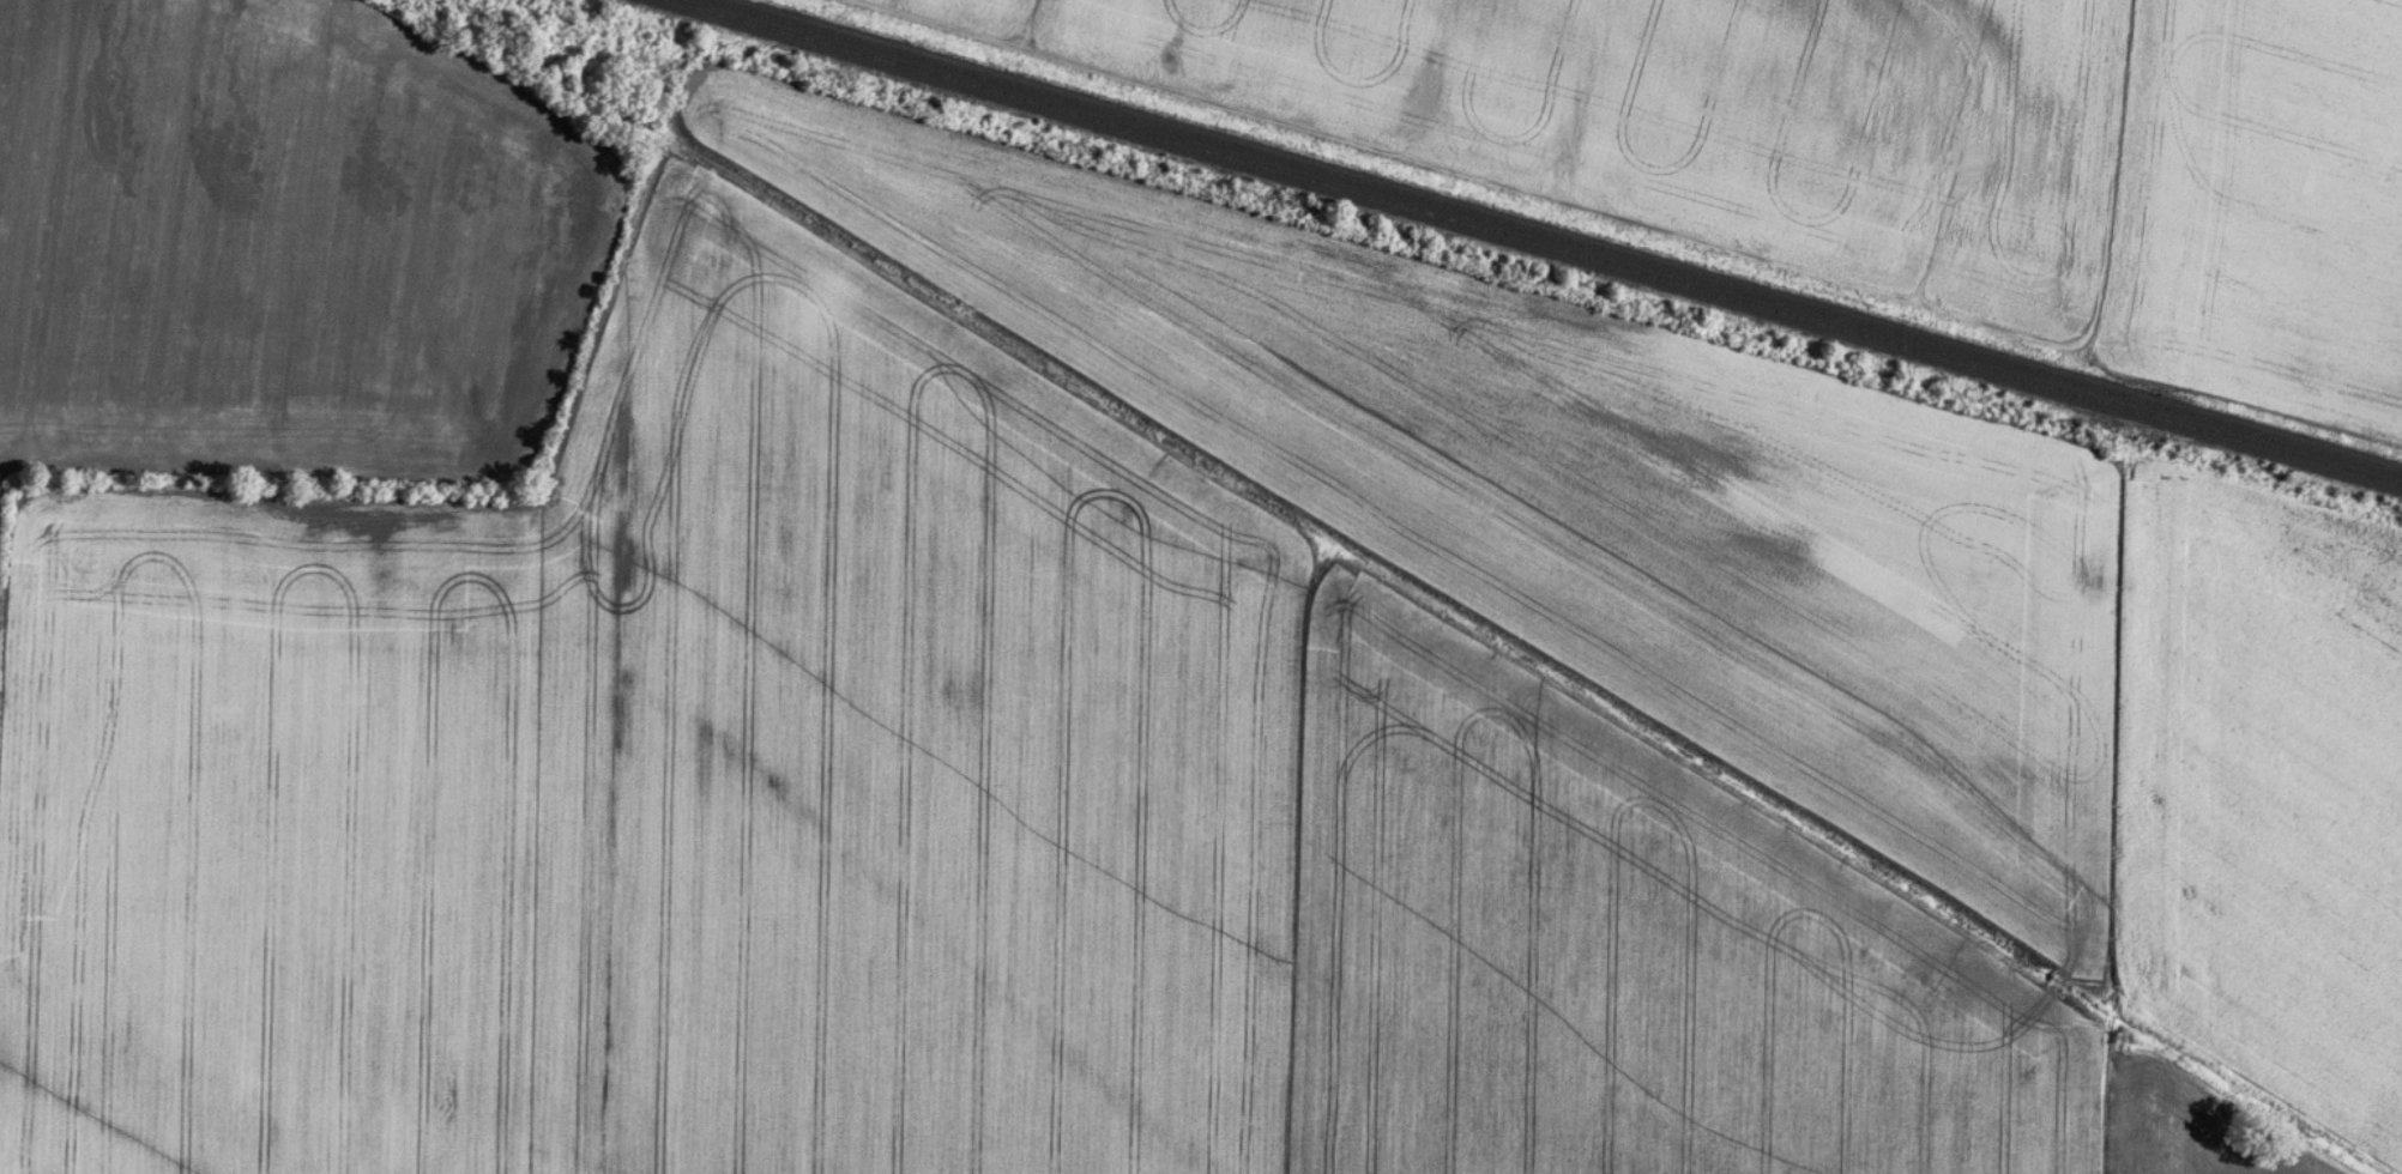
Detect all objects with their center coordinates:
railway: (1552, 237)
railway: (1533, 243)

